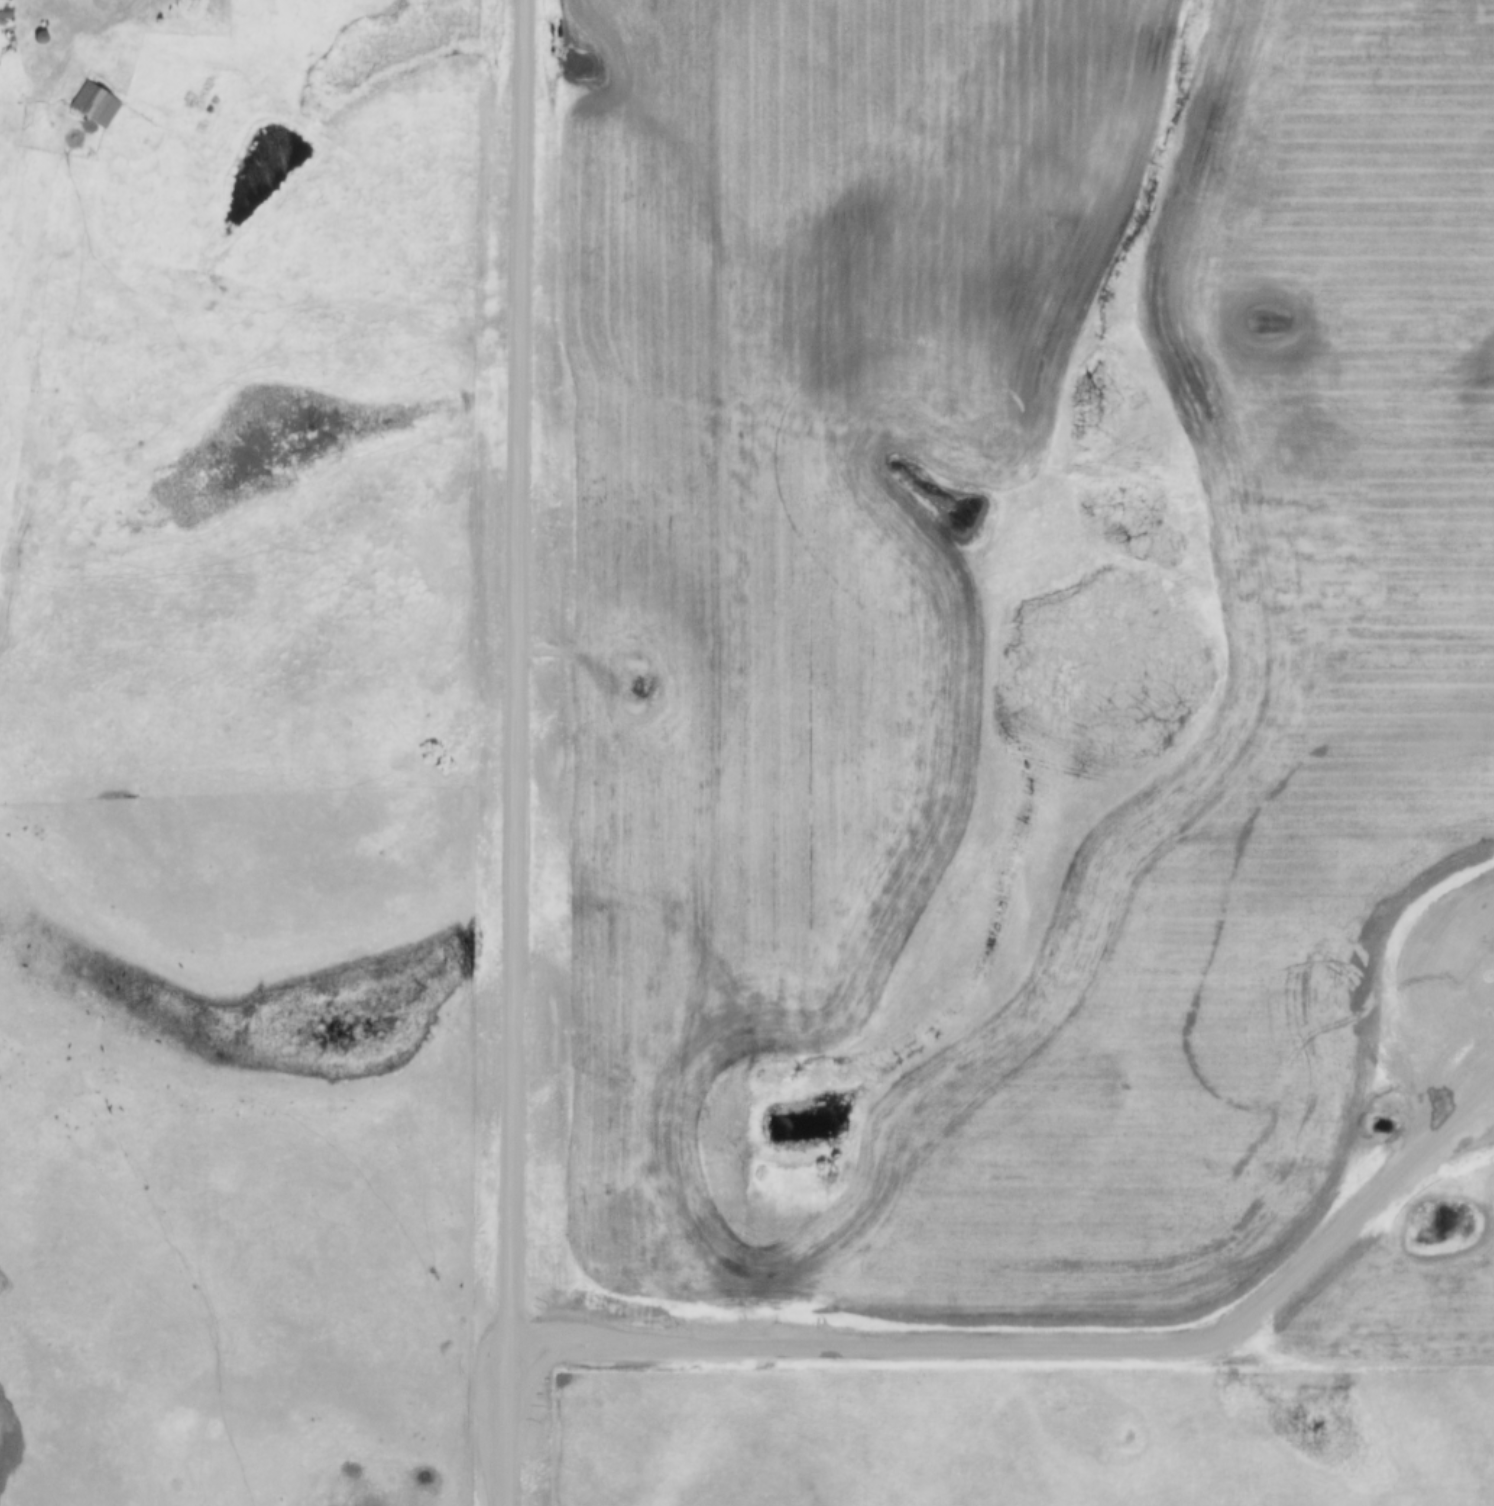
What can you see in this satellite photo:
road: (119, 16)
building: (99, 108)
building: (122, 390)
road: (517, 753)

